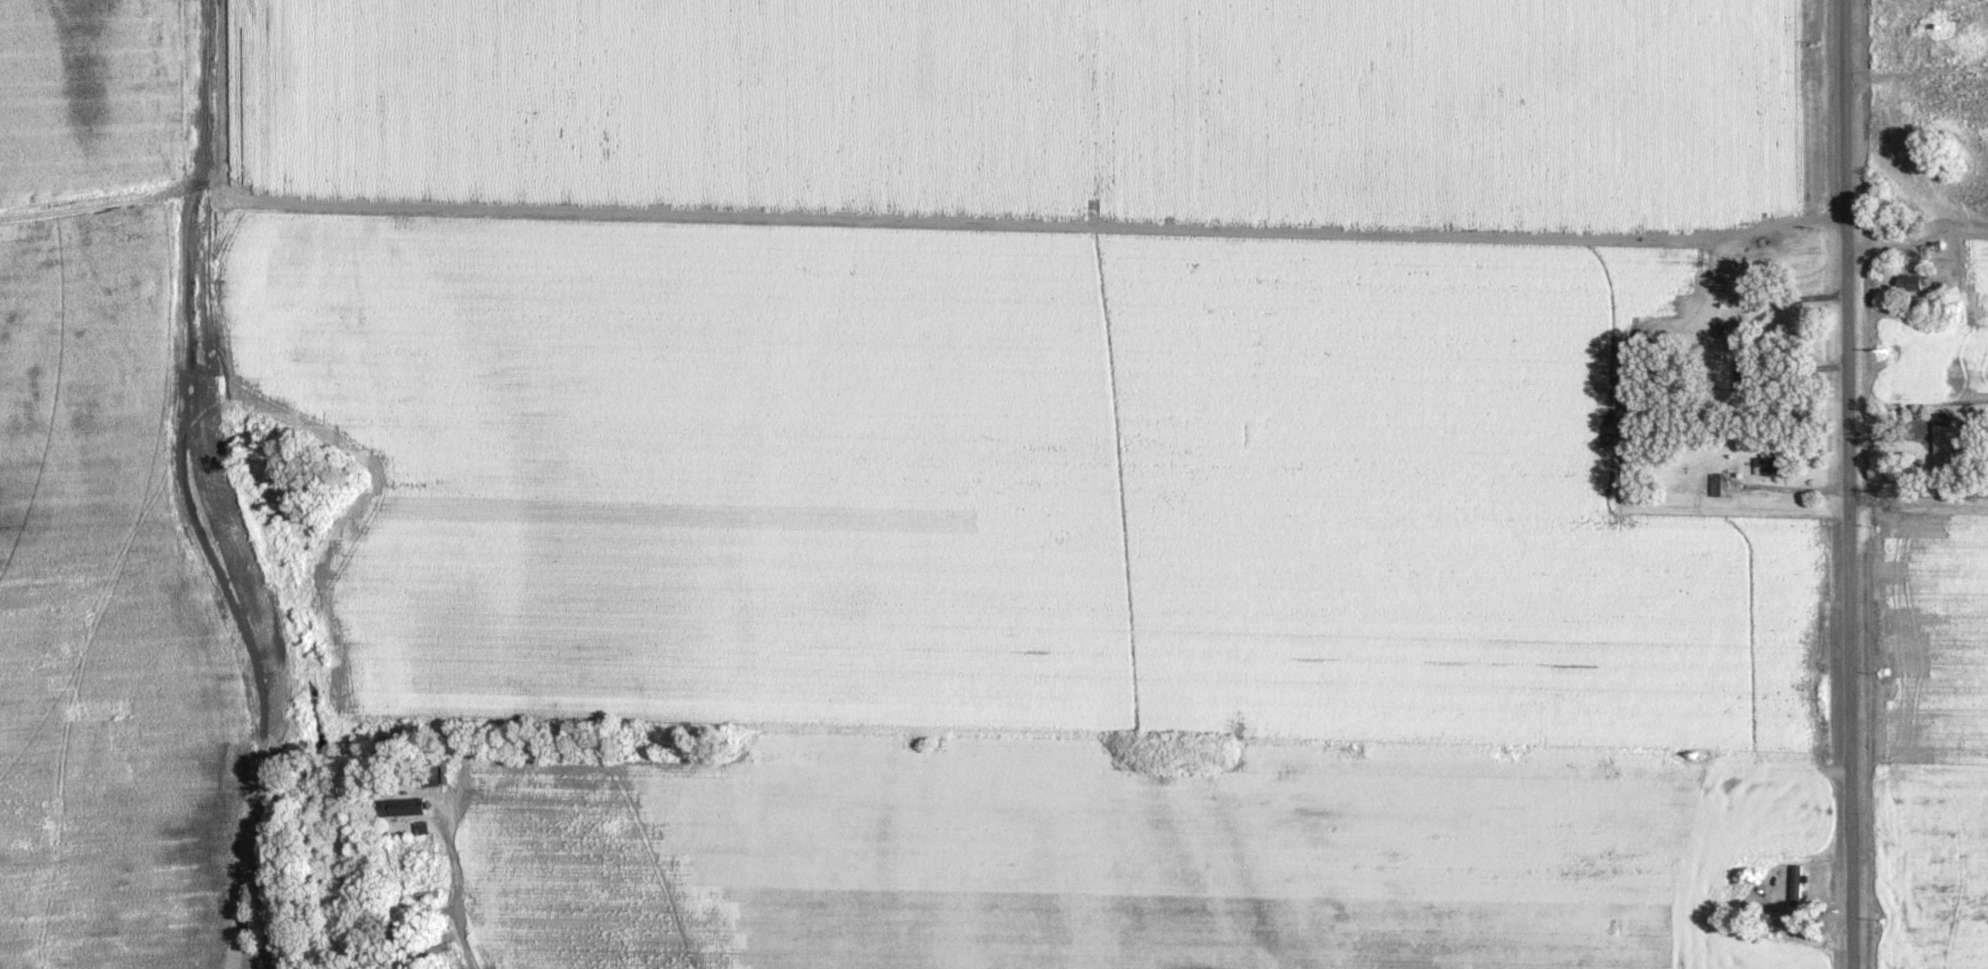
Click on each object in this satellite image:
building: (1916, 35)
building: (1907, 286)
road: (1849, 484)
building: (1717, 488)
road: (1919, 505)
building: (428, 780)
building: (399, 810)
road: (474, 859)

